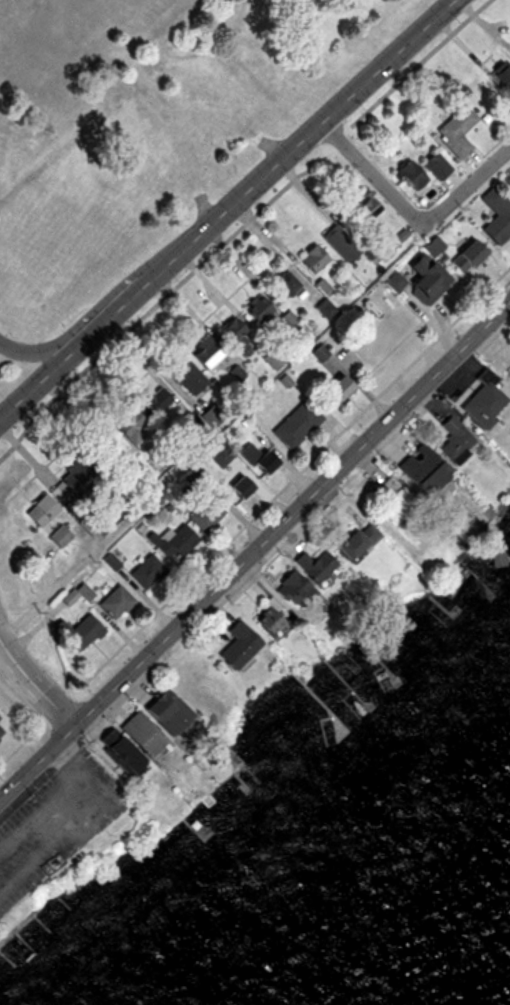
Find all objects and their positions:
road: (256, 174)
road: (410, 215)
road: (242, 226)
road: (34, 351)
road: (34, 376)
road: (255, 537)
road: (31, 687)

